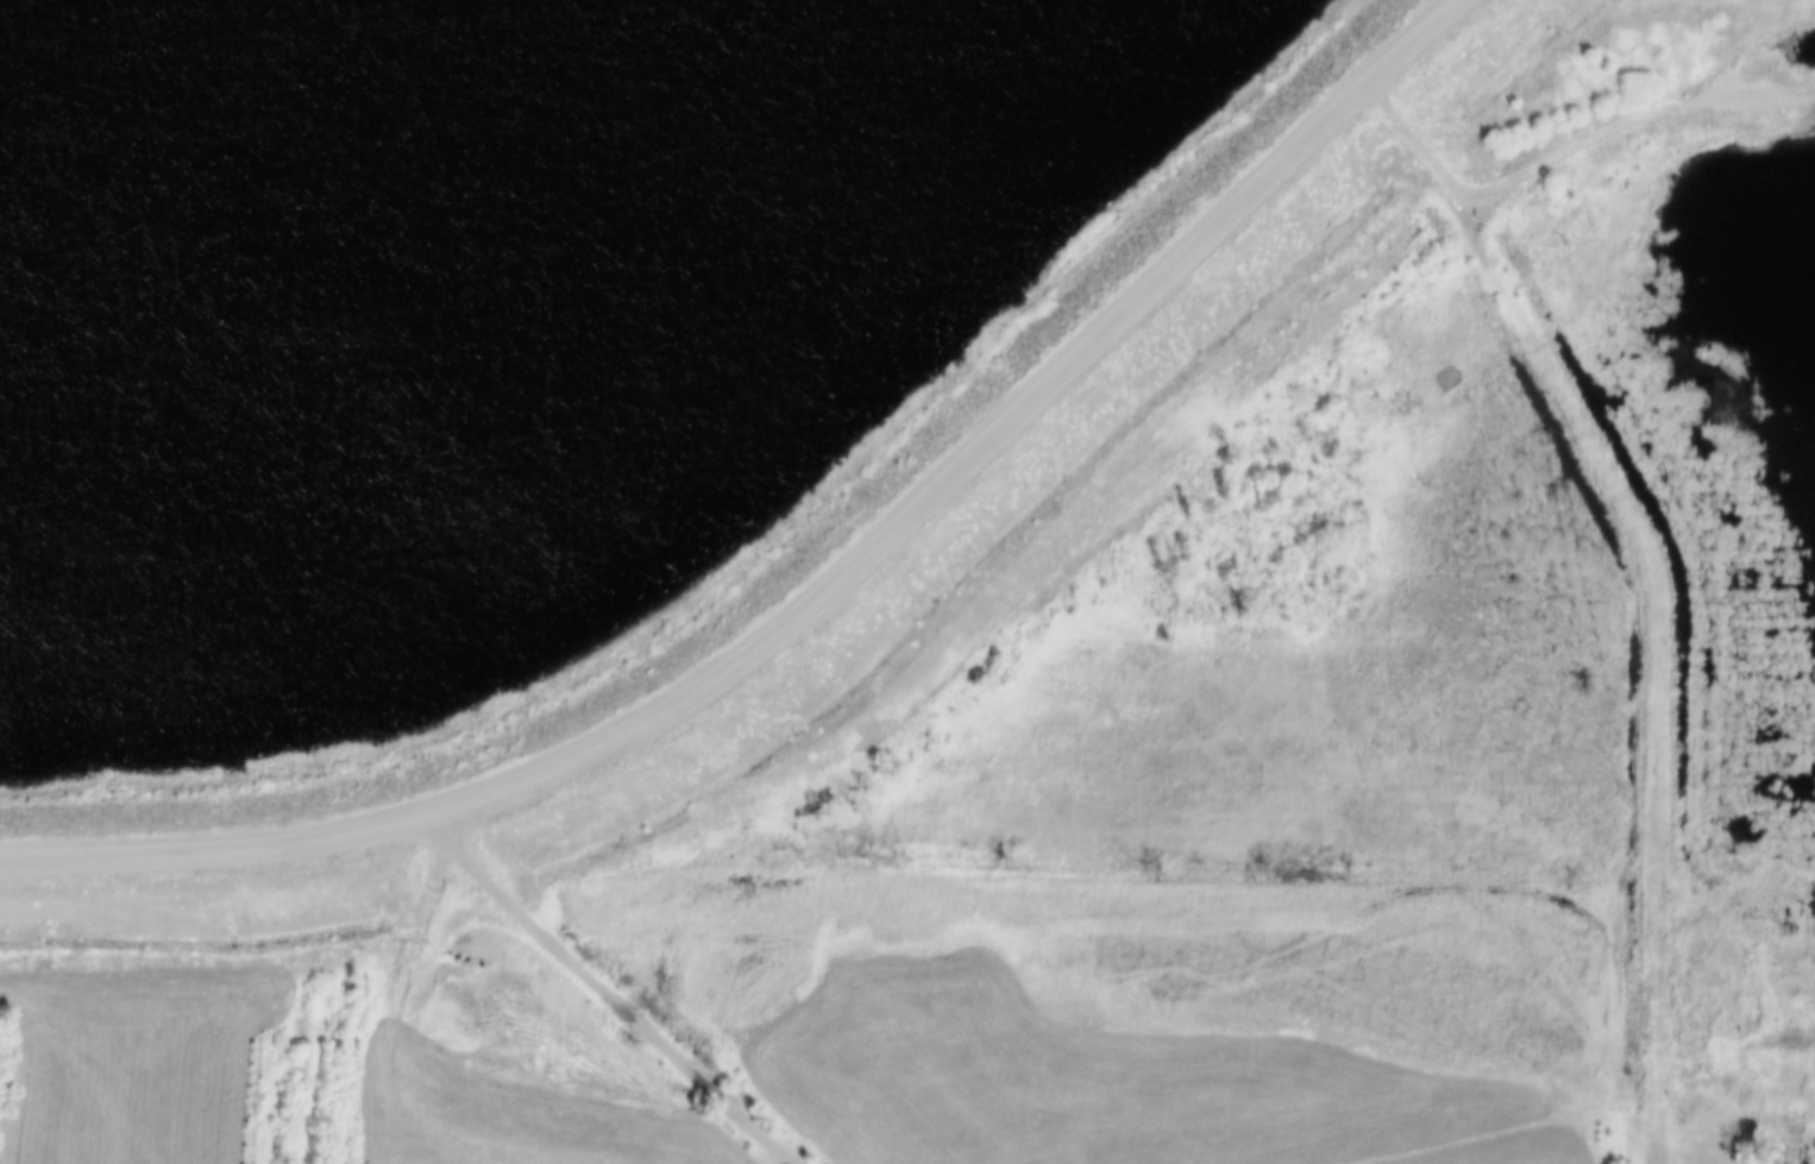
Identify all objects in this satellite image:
road: (1657, 567)
road: (791, 579)
road: (394, 975)

